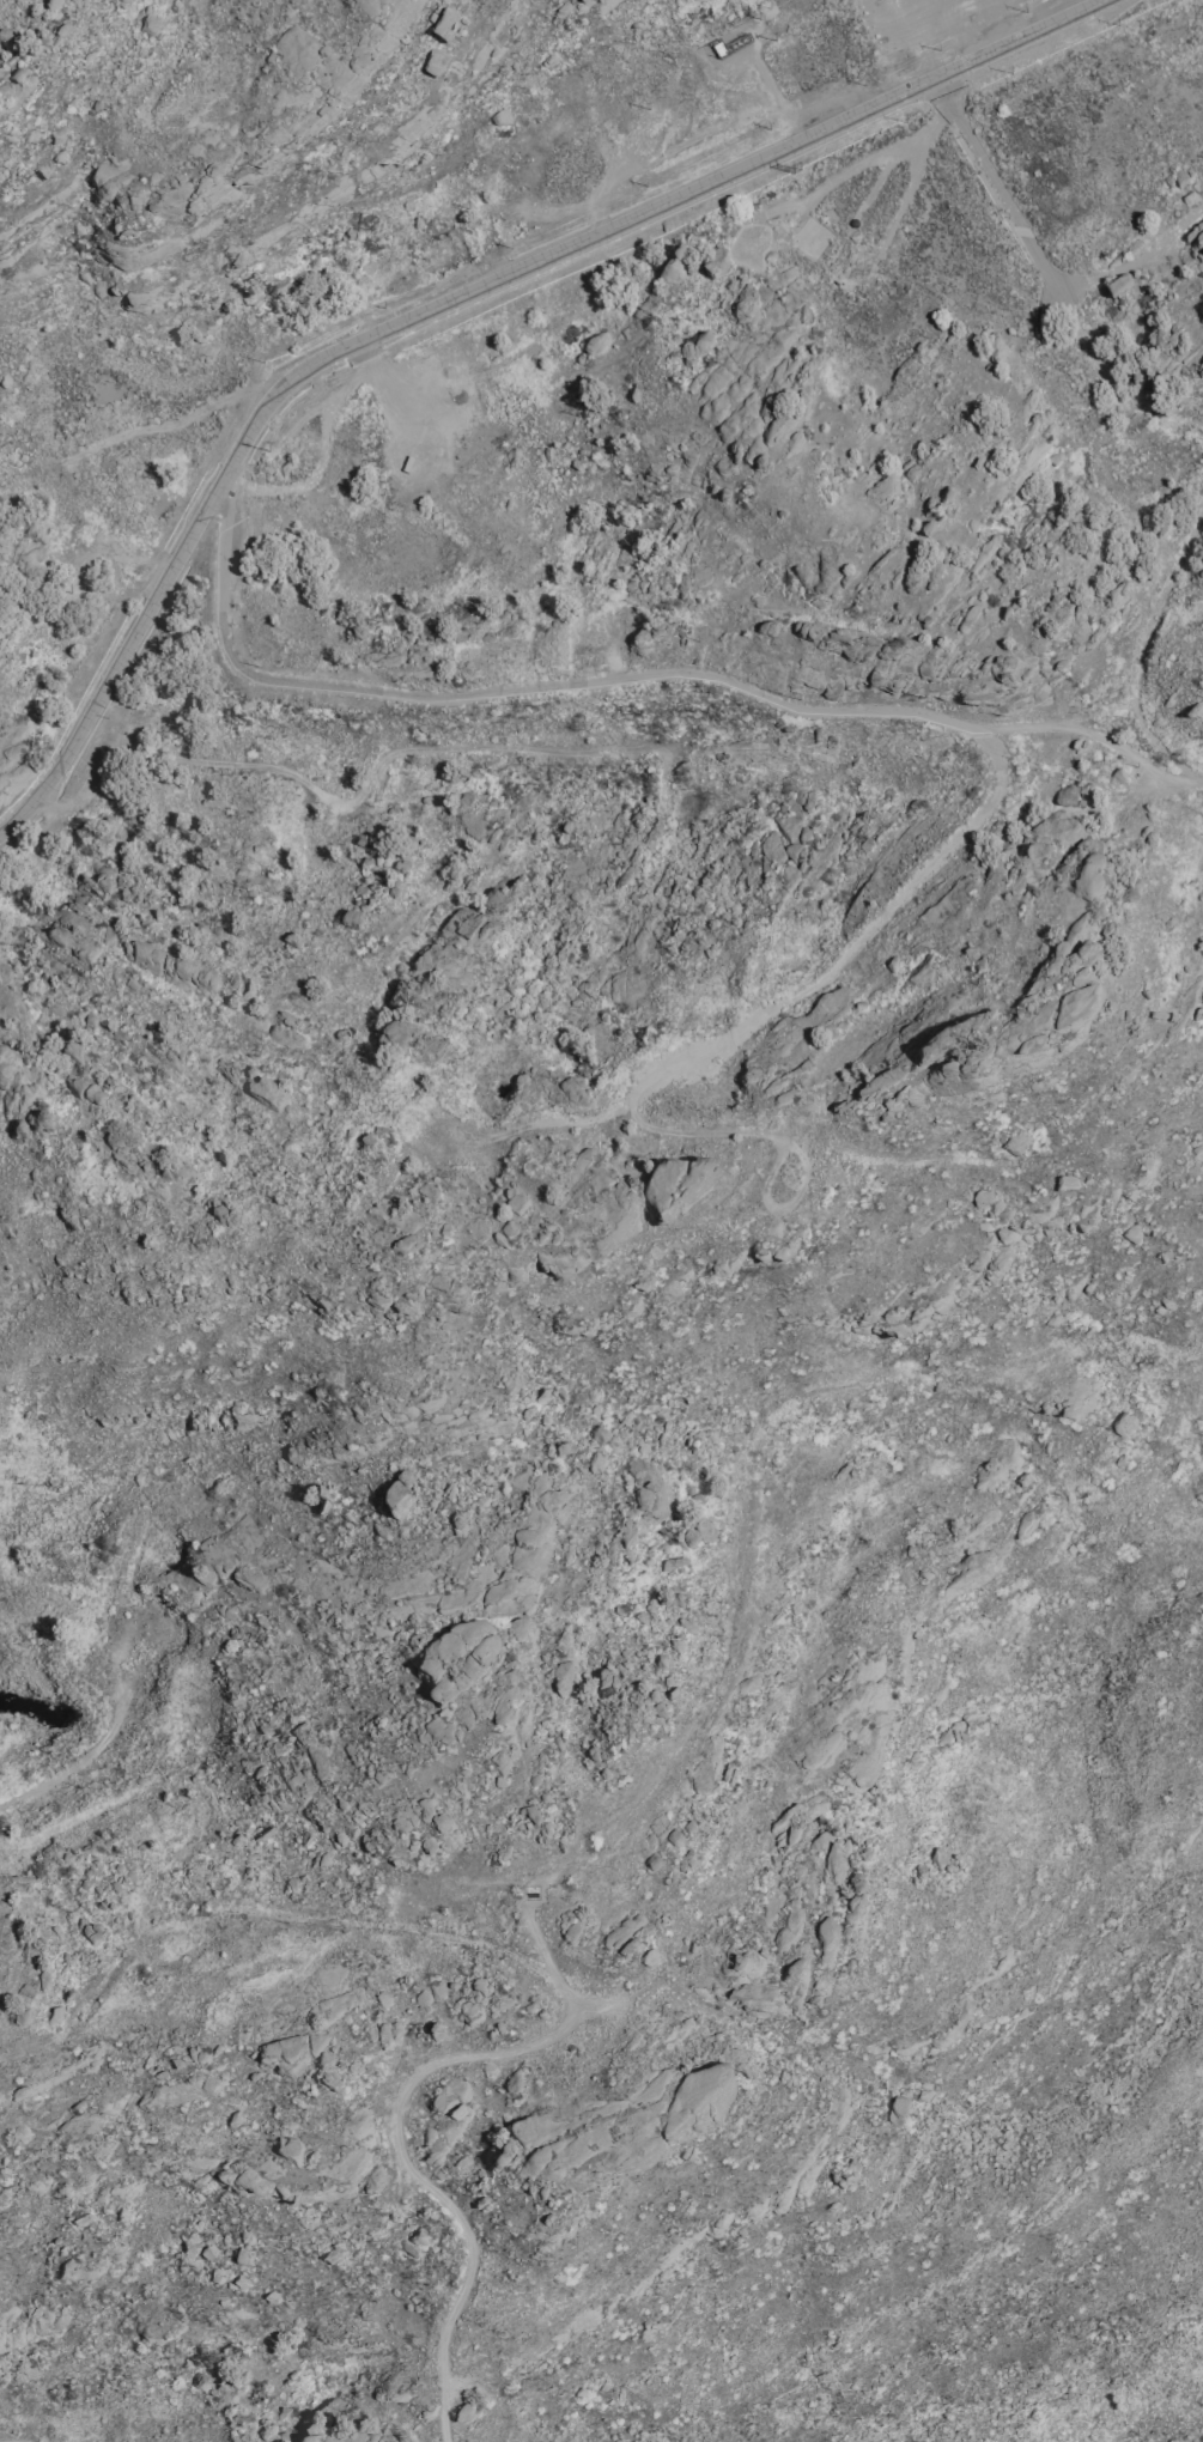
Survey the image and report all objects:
building: (444, 26)
building: (432, 66)
building: (499, 117)
road: (1137, 260)
building: (715, 262)
road: (1050, 277)
road: (451, 298)
building: (596, 345)
building: (994, 350)
road: (1141, 656)
road: (858, 713)
road: (1052, 722)
building: (1065, 794)
building: (1131, 889)
building: (350, 919)
building: (973, 959)
building: (261, 1088)
building: (37, 1122)
building: (515, 1202)
building: (989, 1205)
building: (403, 1245)
building: (1123, 1423)
road: (77, 1763)
building: (572, 1930)
building: (646, 1956)
building: (740, 1963)
building: (43, 1981)
building: (897, 2110)
building: (502, 2157)
building: (461, 2163)
building: (849, 2173)
building: (342, 2436)

